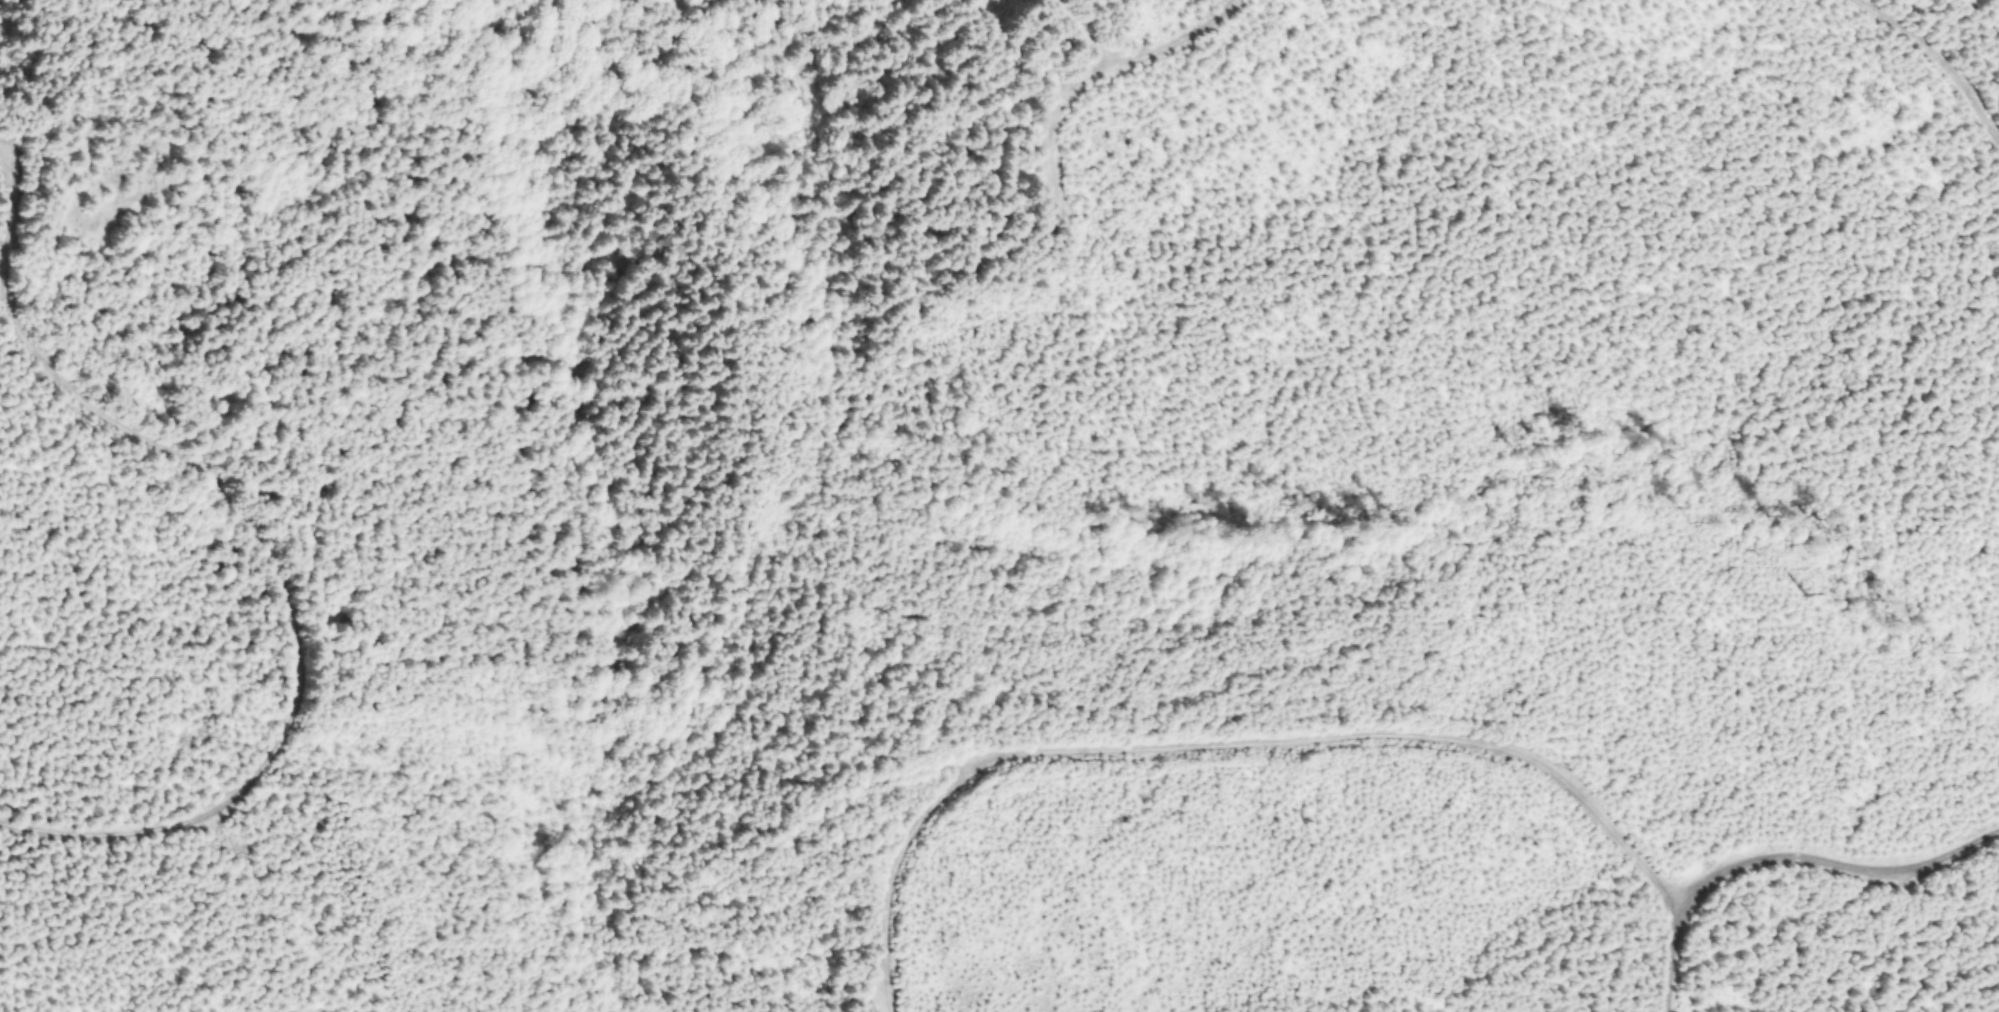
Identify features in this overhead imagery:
road: (1781, 859)

